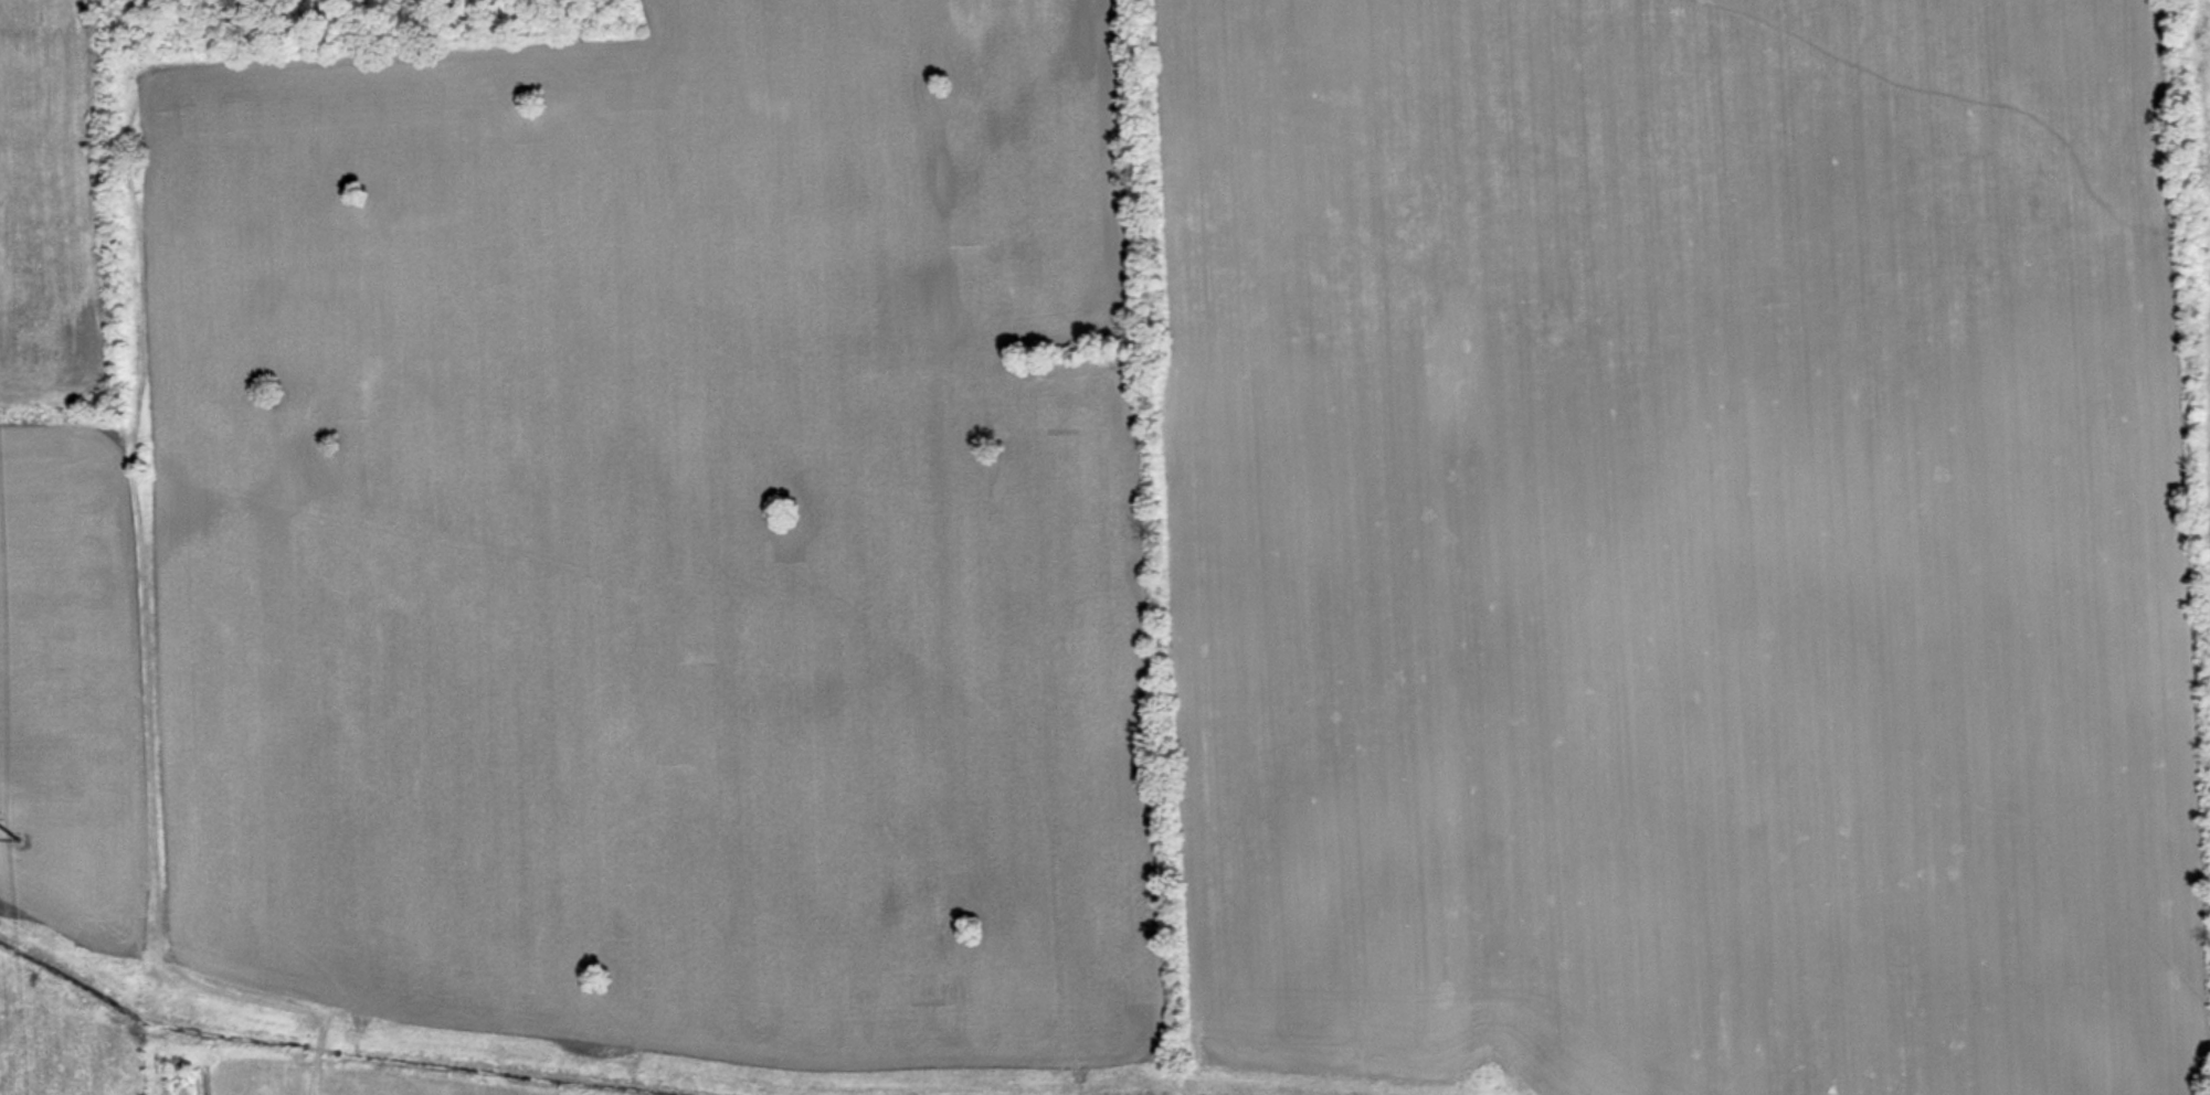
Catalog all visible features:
power tower: (2, 185)
power tower: (32, 840)

